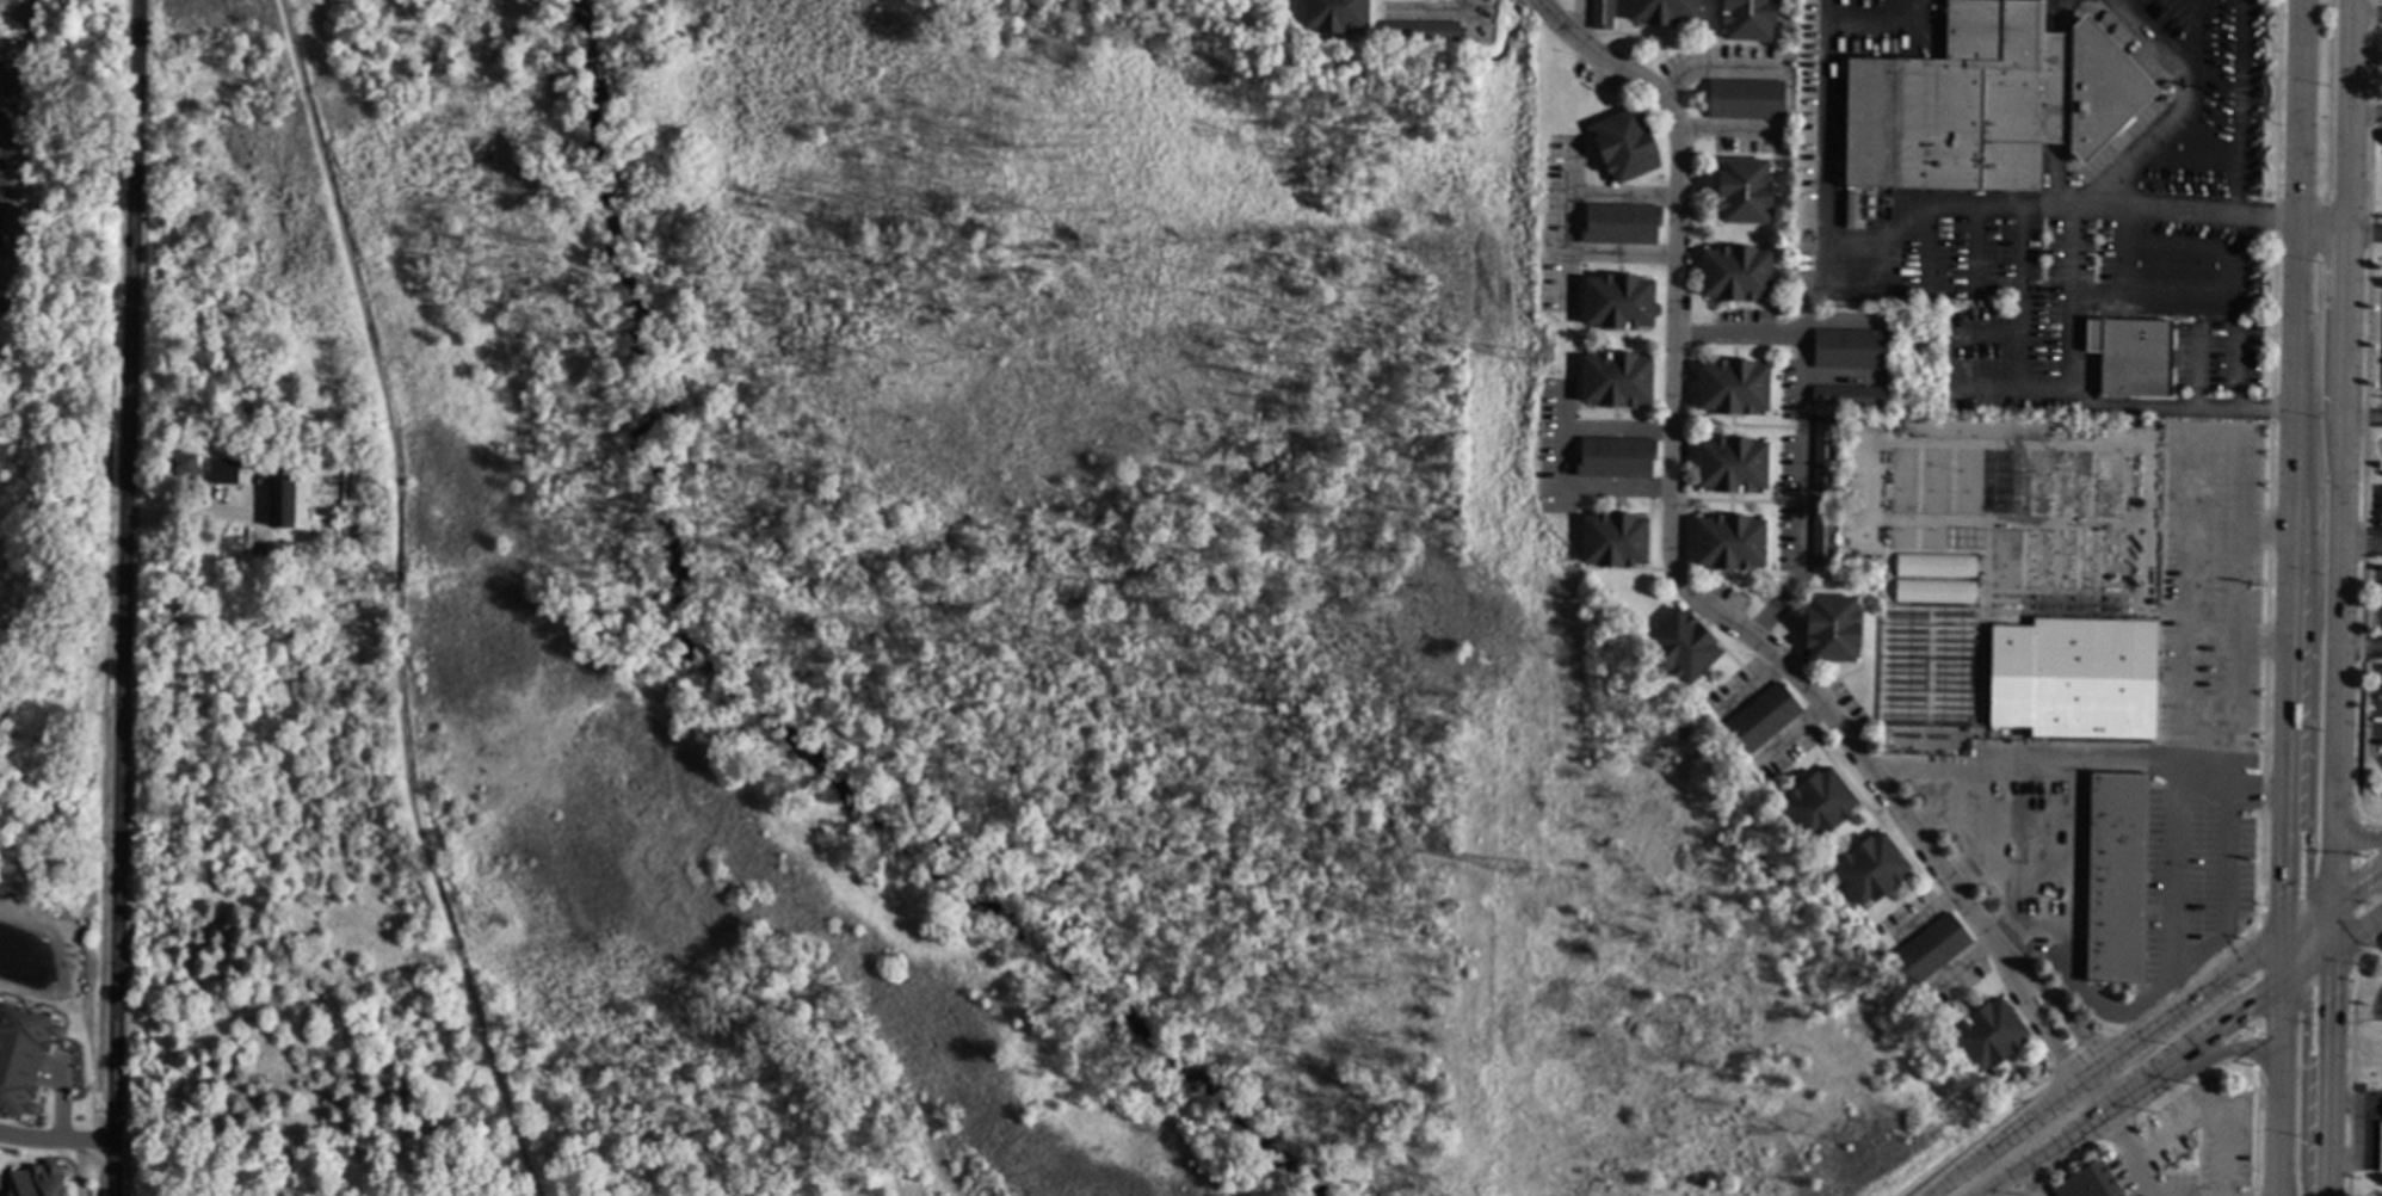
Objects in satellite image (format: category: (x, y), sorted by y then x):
road: (1464, 5)
building: (1664, 12)
building: (1335, 16)
building: (1600, 16)
road: (2368, 16)
building: (1747, 19)
building: (1420, 32)
road: (2352, 57)
building: (1745, 100)
building: (1986, 103)
road: (2297, 112)
road: (2366, 113)
road: (2172, 121)
road: (21, 140)
building: (1624, 147)
road: (2350, 173)
building: (1744, 192)
road: (1624, 197)
road: (1568, 199)
road: (2210, 215)
road: (1829, 221)
building: (1619, 226)
road: (2322, 228)
road: (2365, 233)
road: (1598, 255)
building: (1735, 275)
building: (1617, 303)
building: (1850, 351)
building: (2130, 356)
power tower: (1532, 359)
road: (2292, 378)
building: (1616, 381)
building: (1733, 388)
building: (1849, 397)
road: (2086, 397)
road: (2363, 418)
road: (1802, 431)
building: (1823, 455)
road: (1565, 457)
building: (1615, 460)
building: (180, 466)
building: (1732, 466)
building: (223, 471)
road: (2304, 482)
road: (1671, 498)
building: (279, 501)
building: (322, 512)
road: (190, 518)
road: (2265, 532)
road: (2300, 534)
building: (1822, 537)
building: (1613, 541)
building: (1729, 543)
road: (2363, 543)
building: (1936, 566)
road: (2343, 566)
building: (1934, 591)
road: (2185, 596)
road: (124, 597)
road: (397, 600)
building: (1832, 629)
park: (920, 642)
road: (2362, 646)
building: (1681, 647)
river: (779, 676)
building: (2074, 679)
building: (1761, 720)
road: (2310, 725)
road: (2284, 734)
road: (2123, 760)
road: (1970, 769)
road: (2227, 785)
road: (2230, 788)
building: (1818, 804)
road: (1989, 822)
road: (2352, 834)
road: (2361, 834)
road: (2355, 859)
building: (1870, 869)
power tower: (1523, 871)
road: (2010, 876)
traffic signals: (2307, 876)
building: (2115, 877)
traffic signals: (2366, 877)
road: (2358, 882)
road: (2071, 886)
traffic signals: (2283, 890)
road: (2324, 907)
road: (2296, 925)
road: (2334, 925)
road: (2357, 932)
road: (2319, 935)
building: (1931, 949)
road: (2298, 949)
road: (2281, 961)
road: (2319, 961)
road: (2292, 979)
traffic signals: (2332, 995)
road: (2104, 1010)
traffic signals: (2248, 1010)
road: (2062, 1015)
traffic signals: (2304, 1015)
road: (2261, 1027)
road: (2041, 1029)
building: (2061, 1035)
building: (1988, 1036)
road: (2254, 1048)
road: (2222, 1052)
building: (23, 1056)
road: (2099, 1060)
road: (2329, 1073)
road: (2302, 1084)
road: (2277, 1091)
road: (2129, 1092)
road: (57, 1140)
building: (2380, 1147)
road: (2131, 1152)
building: (35, 1180)
road: (2029, 1182)
building: (2088, 1183)

